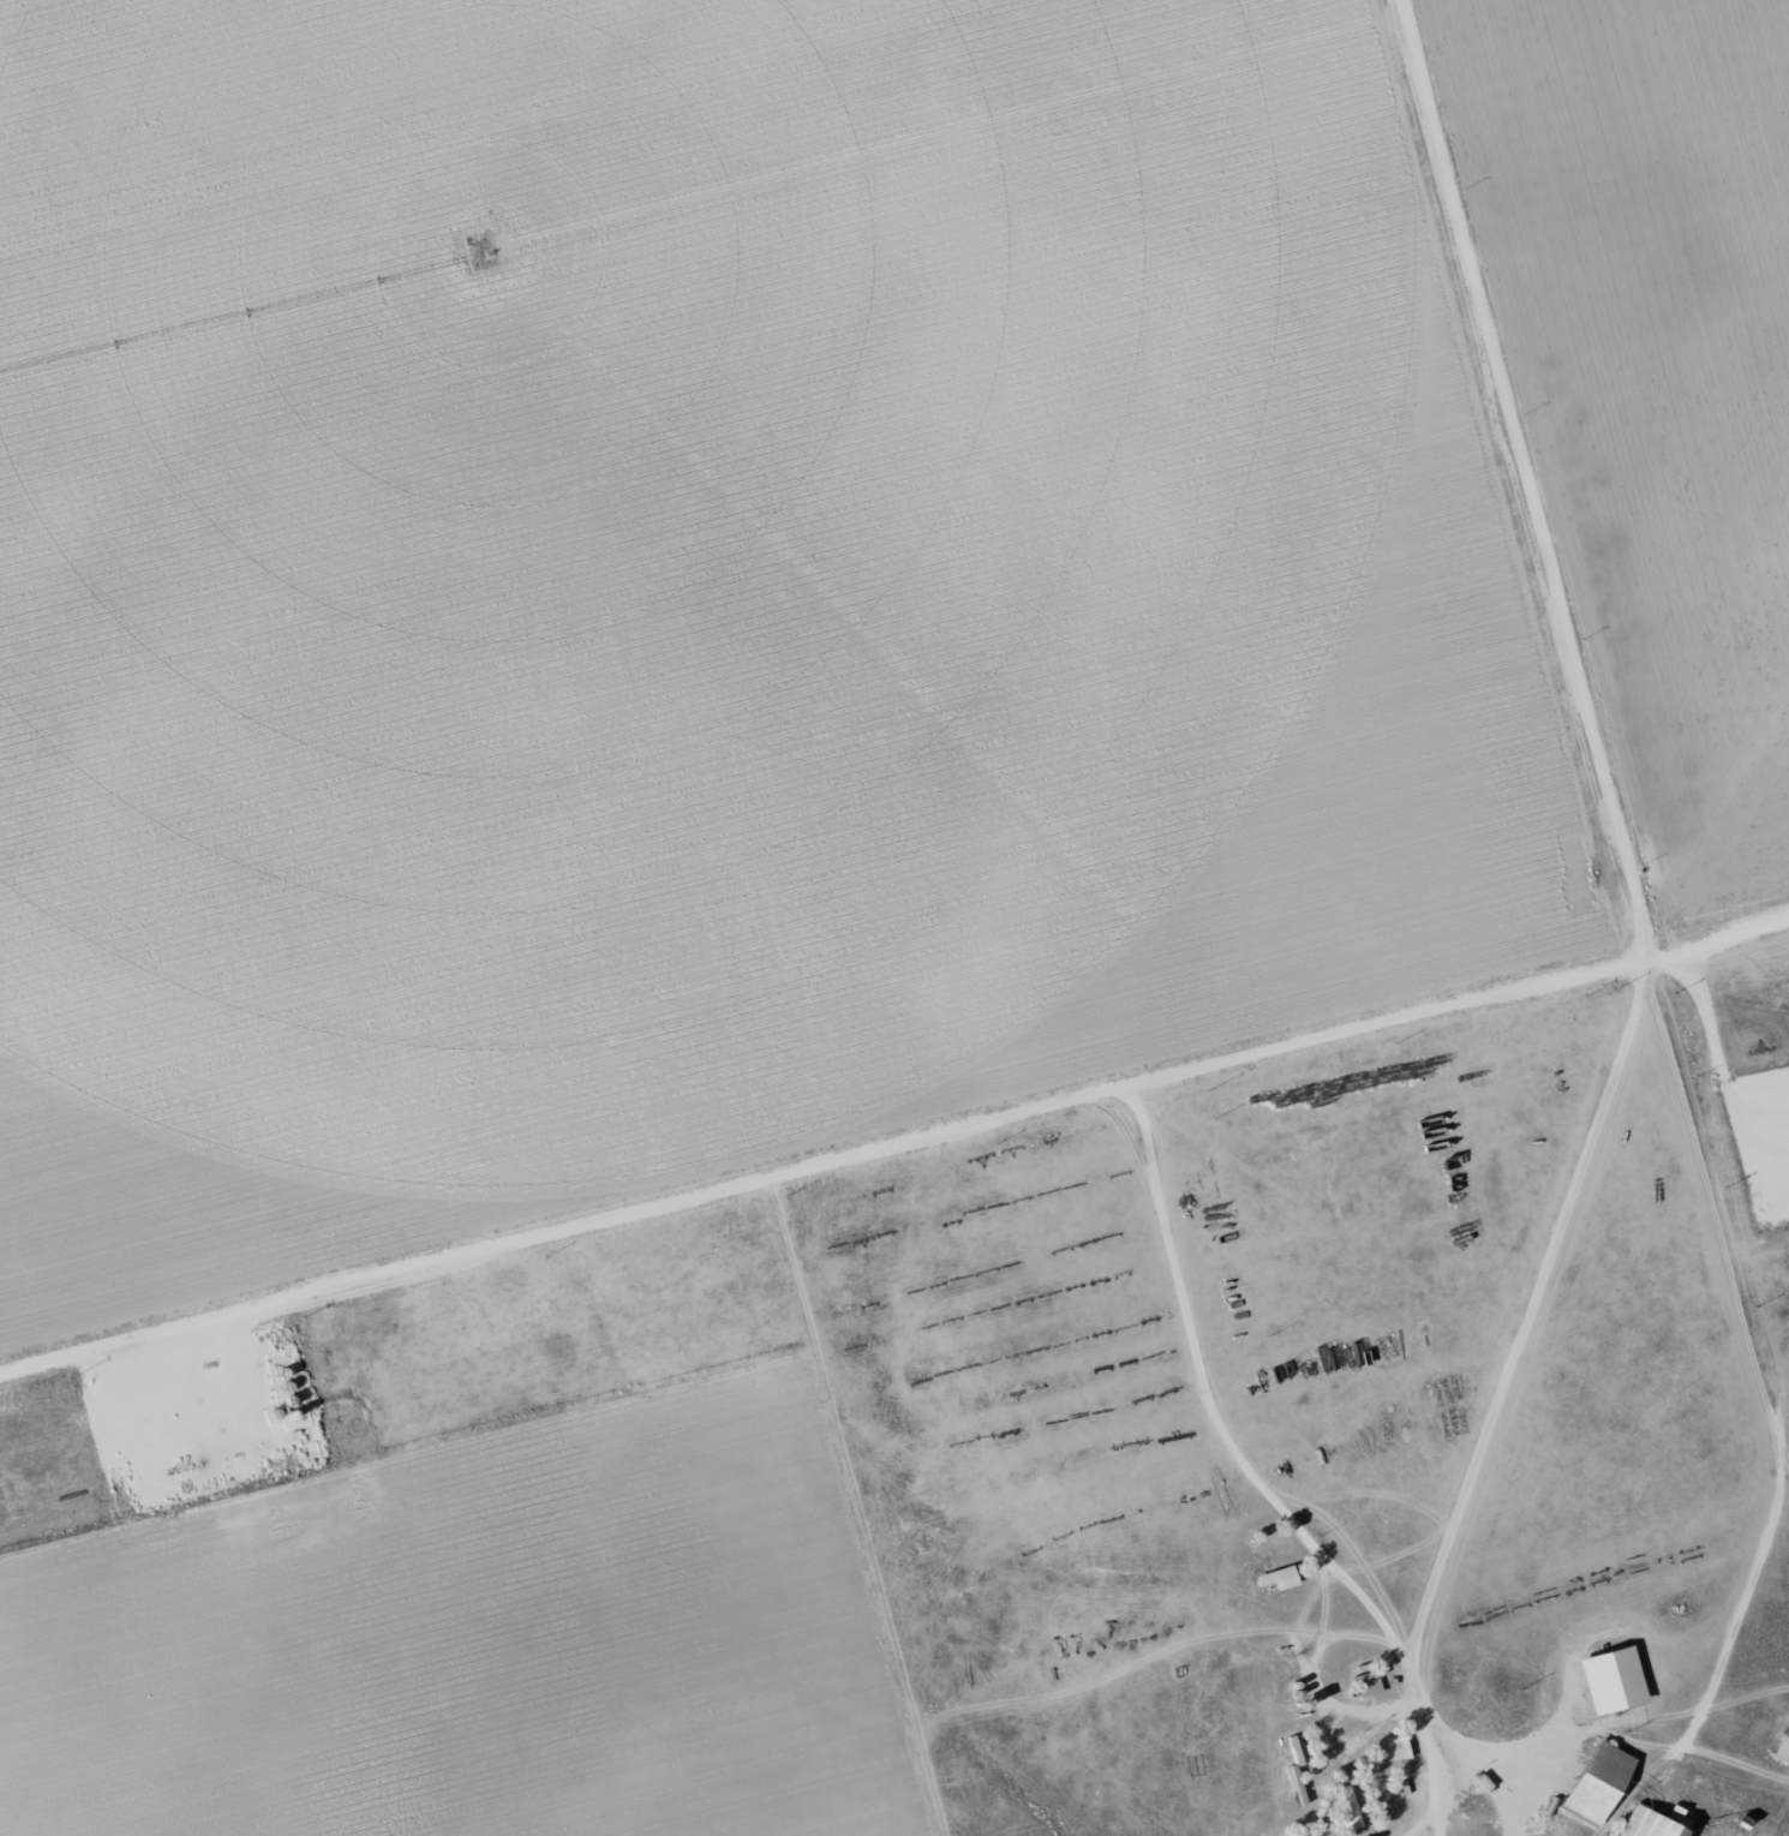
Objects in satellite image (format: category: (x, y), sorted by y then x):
building: (1274, 1578)
building: (1608, 1679)
building: (1781, 1744)
building: (1591, 1782)
building: (1350, 1806)

